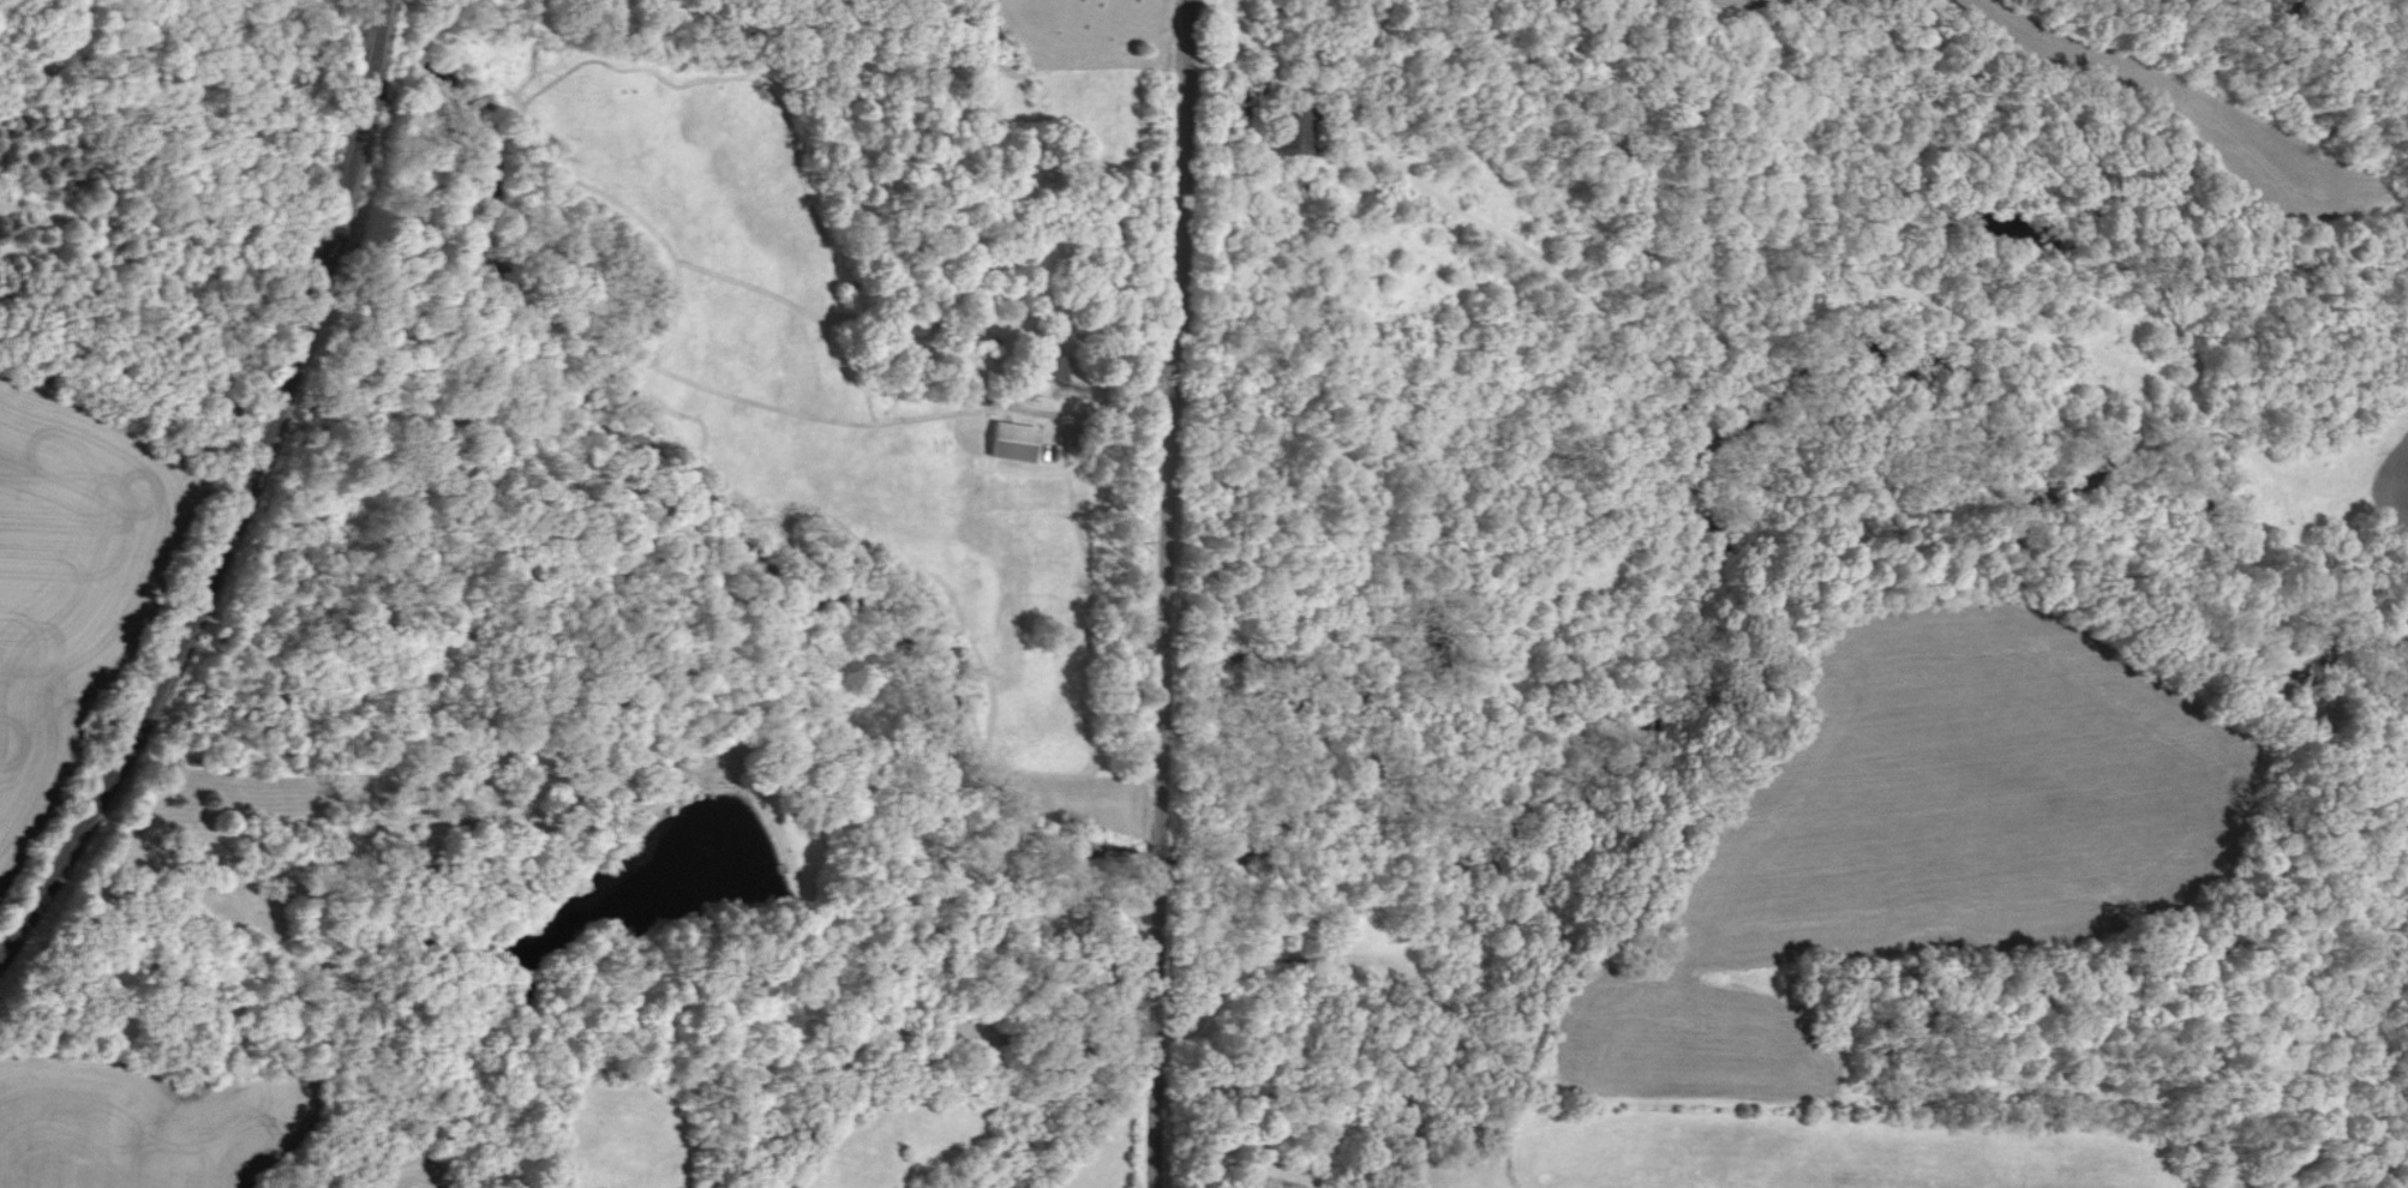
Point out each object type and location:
building: (1061, 365)
road: (1116, 412)
building: (1005, 442)
railway: (236, 493)
road: (1174, 594)

